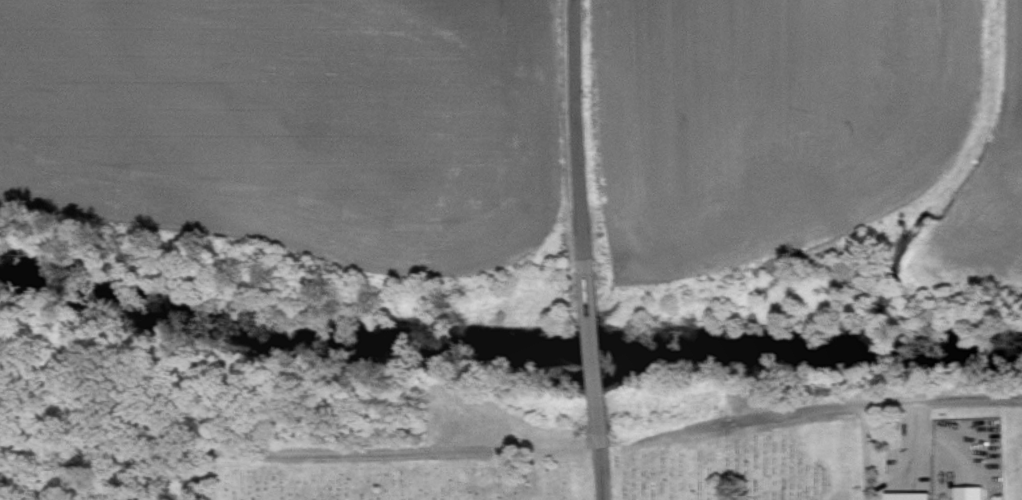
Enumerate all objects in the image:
road: (583, 250)
road: (867, 404)
road: (236, 451)
road: (860, 452)
park: (584, 472)
road: (197, 476)
building: (968, 492)
building: (906, 496)

